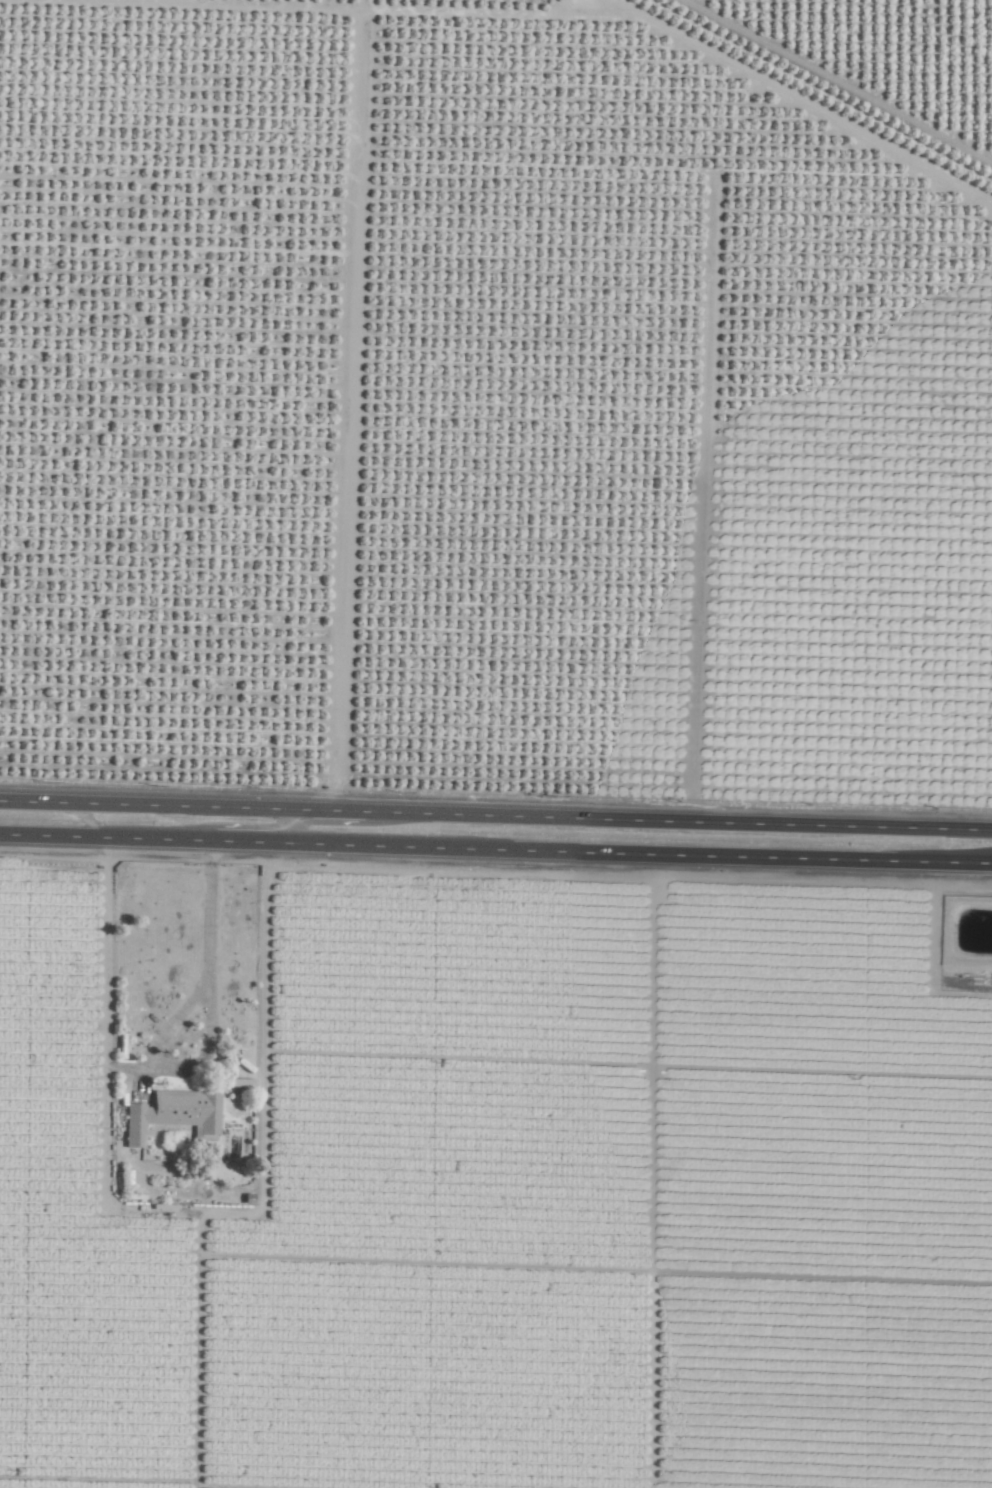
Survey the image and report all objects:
road: (837, 81)
road: (346, 422)
crop: (496, 744)
road: (495, 816)
road: (292, 828)
road: (495, 850)
road: (208, 1017)
building: (172, 1115)

